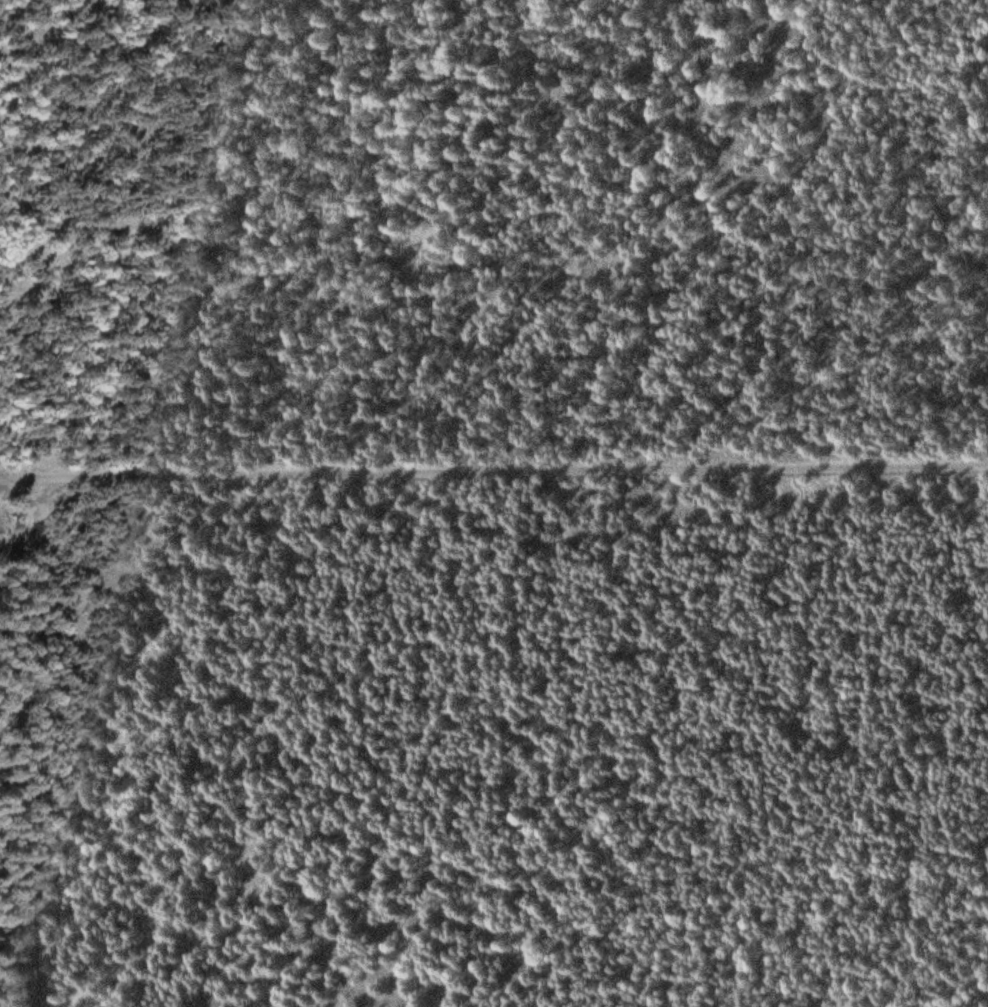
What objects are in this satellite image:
road: (494, 474)
road: (39, 744)

